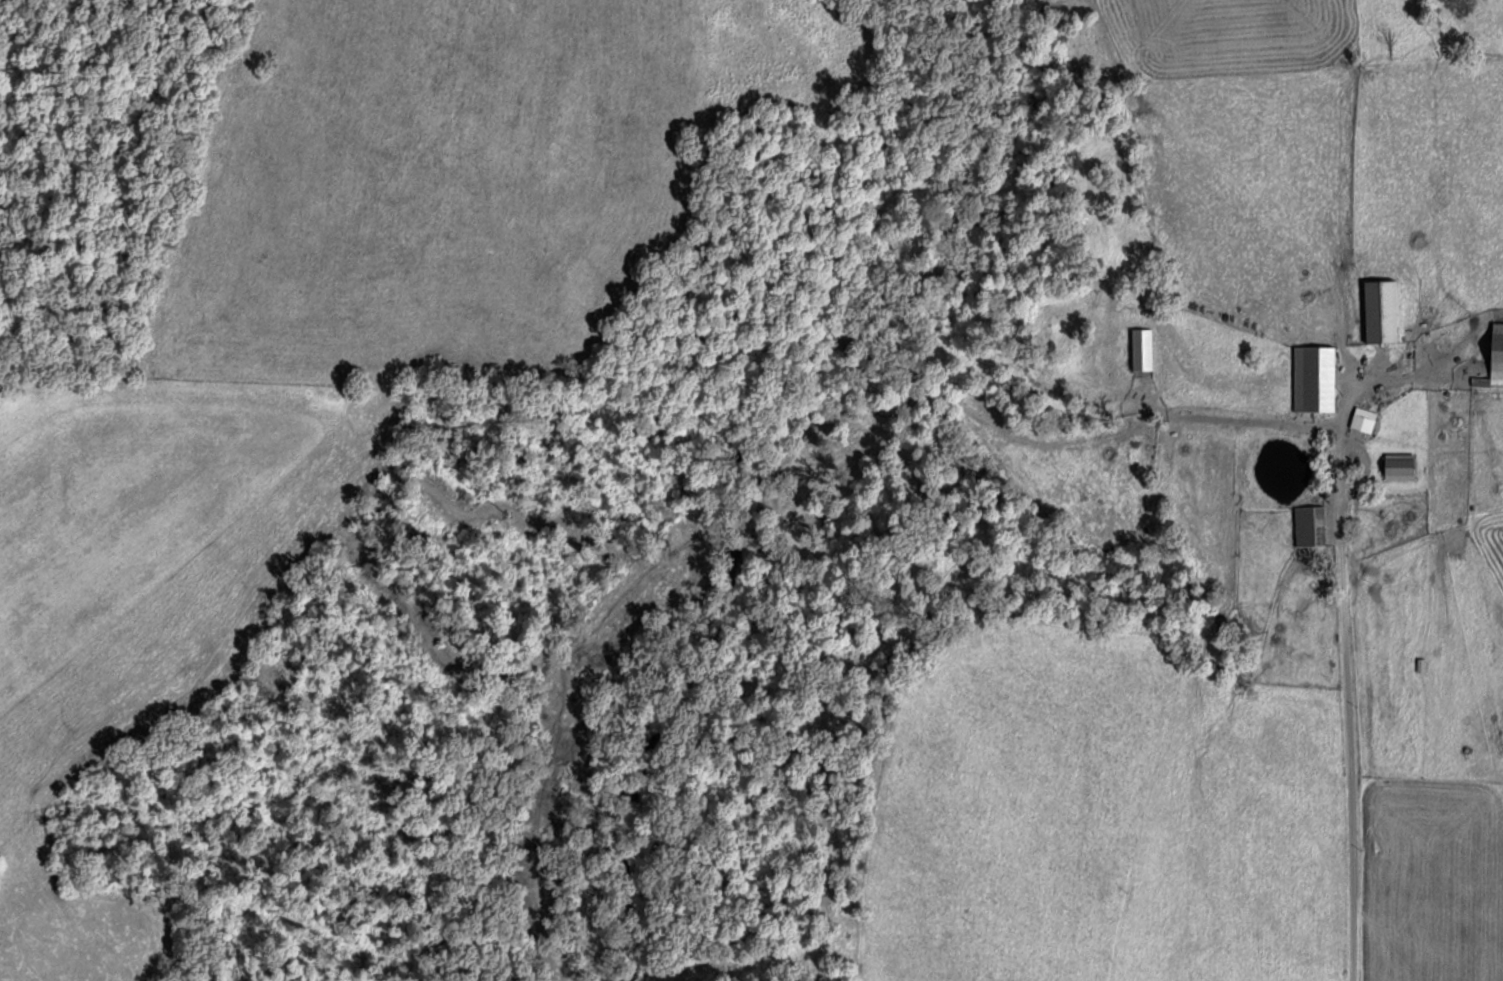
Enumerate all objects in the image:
building: (1377, 310)
building: (1492, 355)
building: (1311, 378)
building: (1360, 419)
building: (1393, 464)
building: (1306, 525)
road: (1360, 700)

